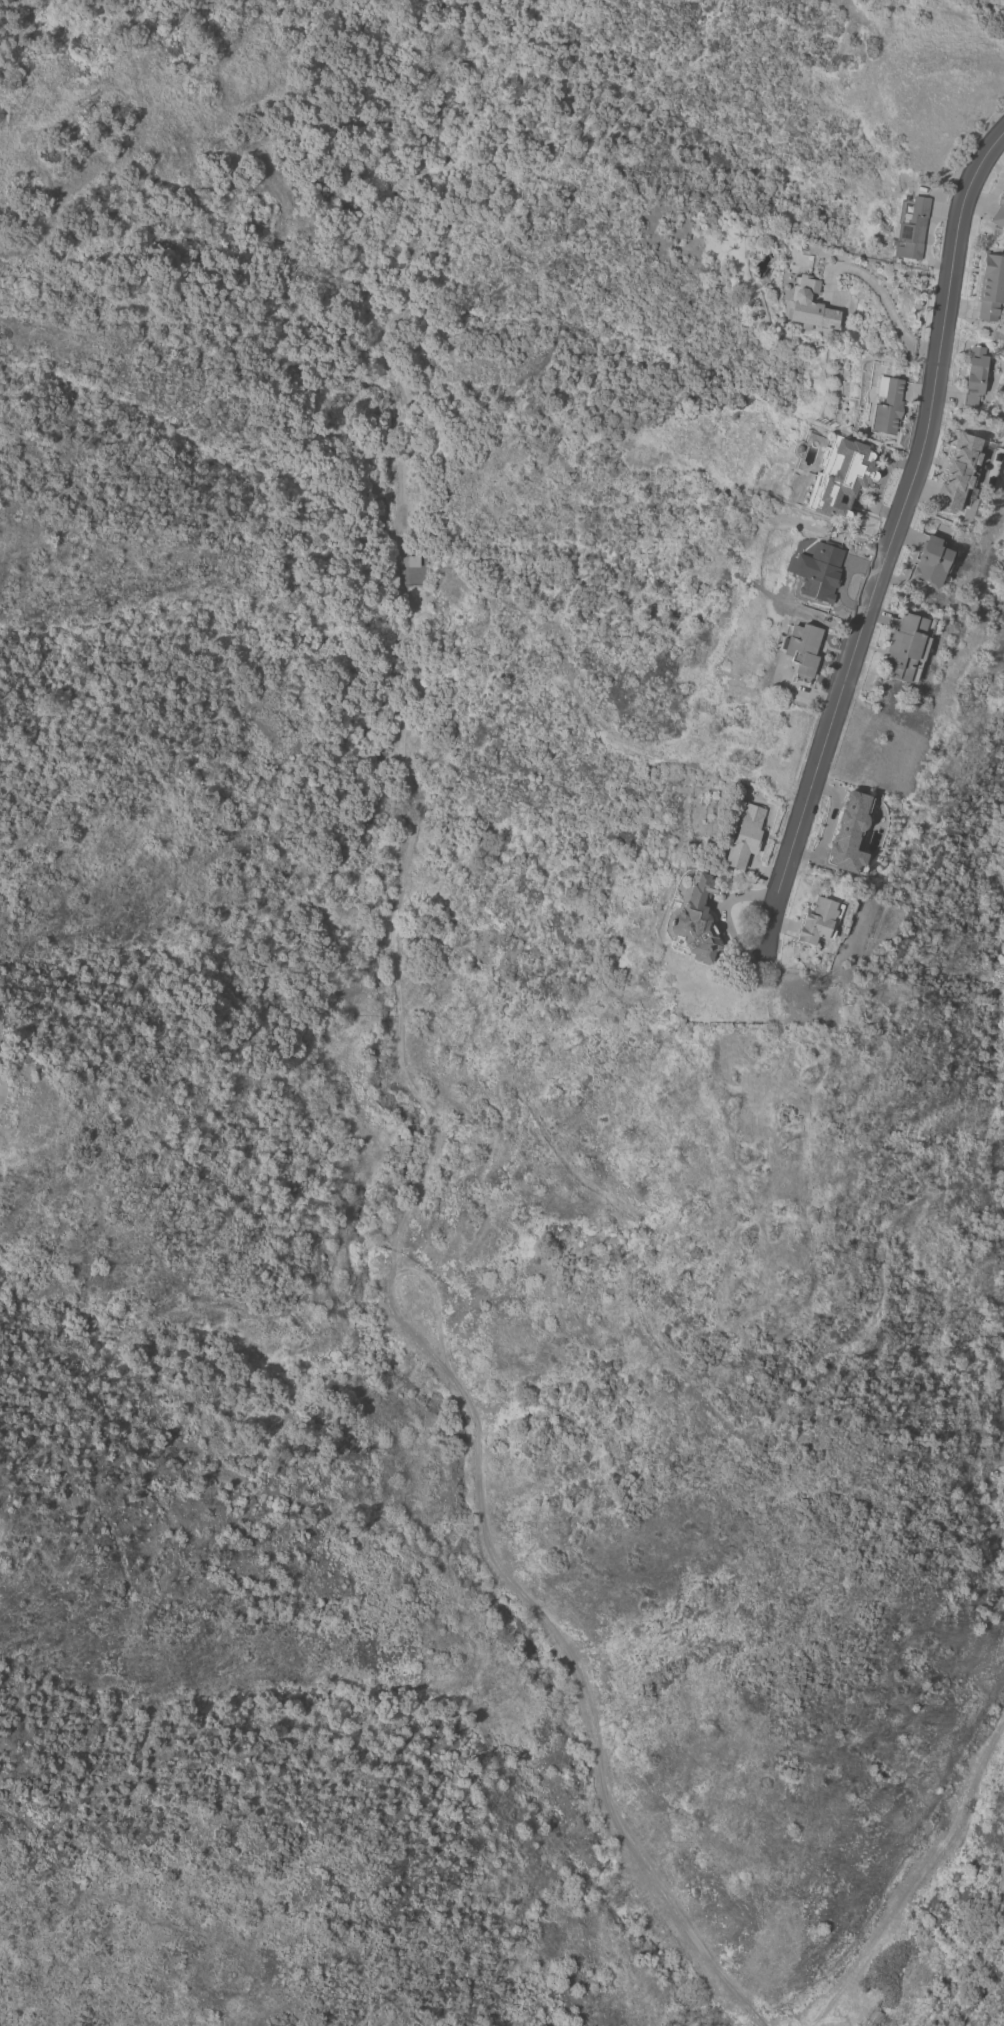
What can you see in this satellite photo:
building: (999, 213)
building: (912, 229)
building: (990, 287)
road: (880, 294)
building: (809, 305)
building: (975, 375)
building: (887, 405)
building: (960, 473)
building: (843, 478)
road: (892, 543)
building: (414, 560)
building: (932, 561)
building: (818, 570)
building: (907, 646)
building: (802, 649)
building: (862, 716)
building: (852, 832)
building: (745, 836)
building: (693, 917)
building: (819, 921)

